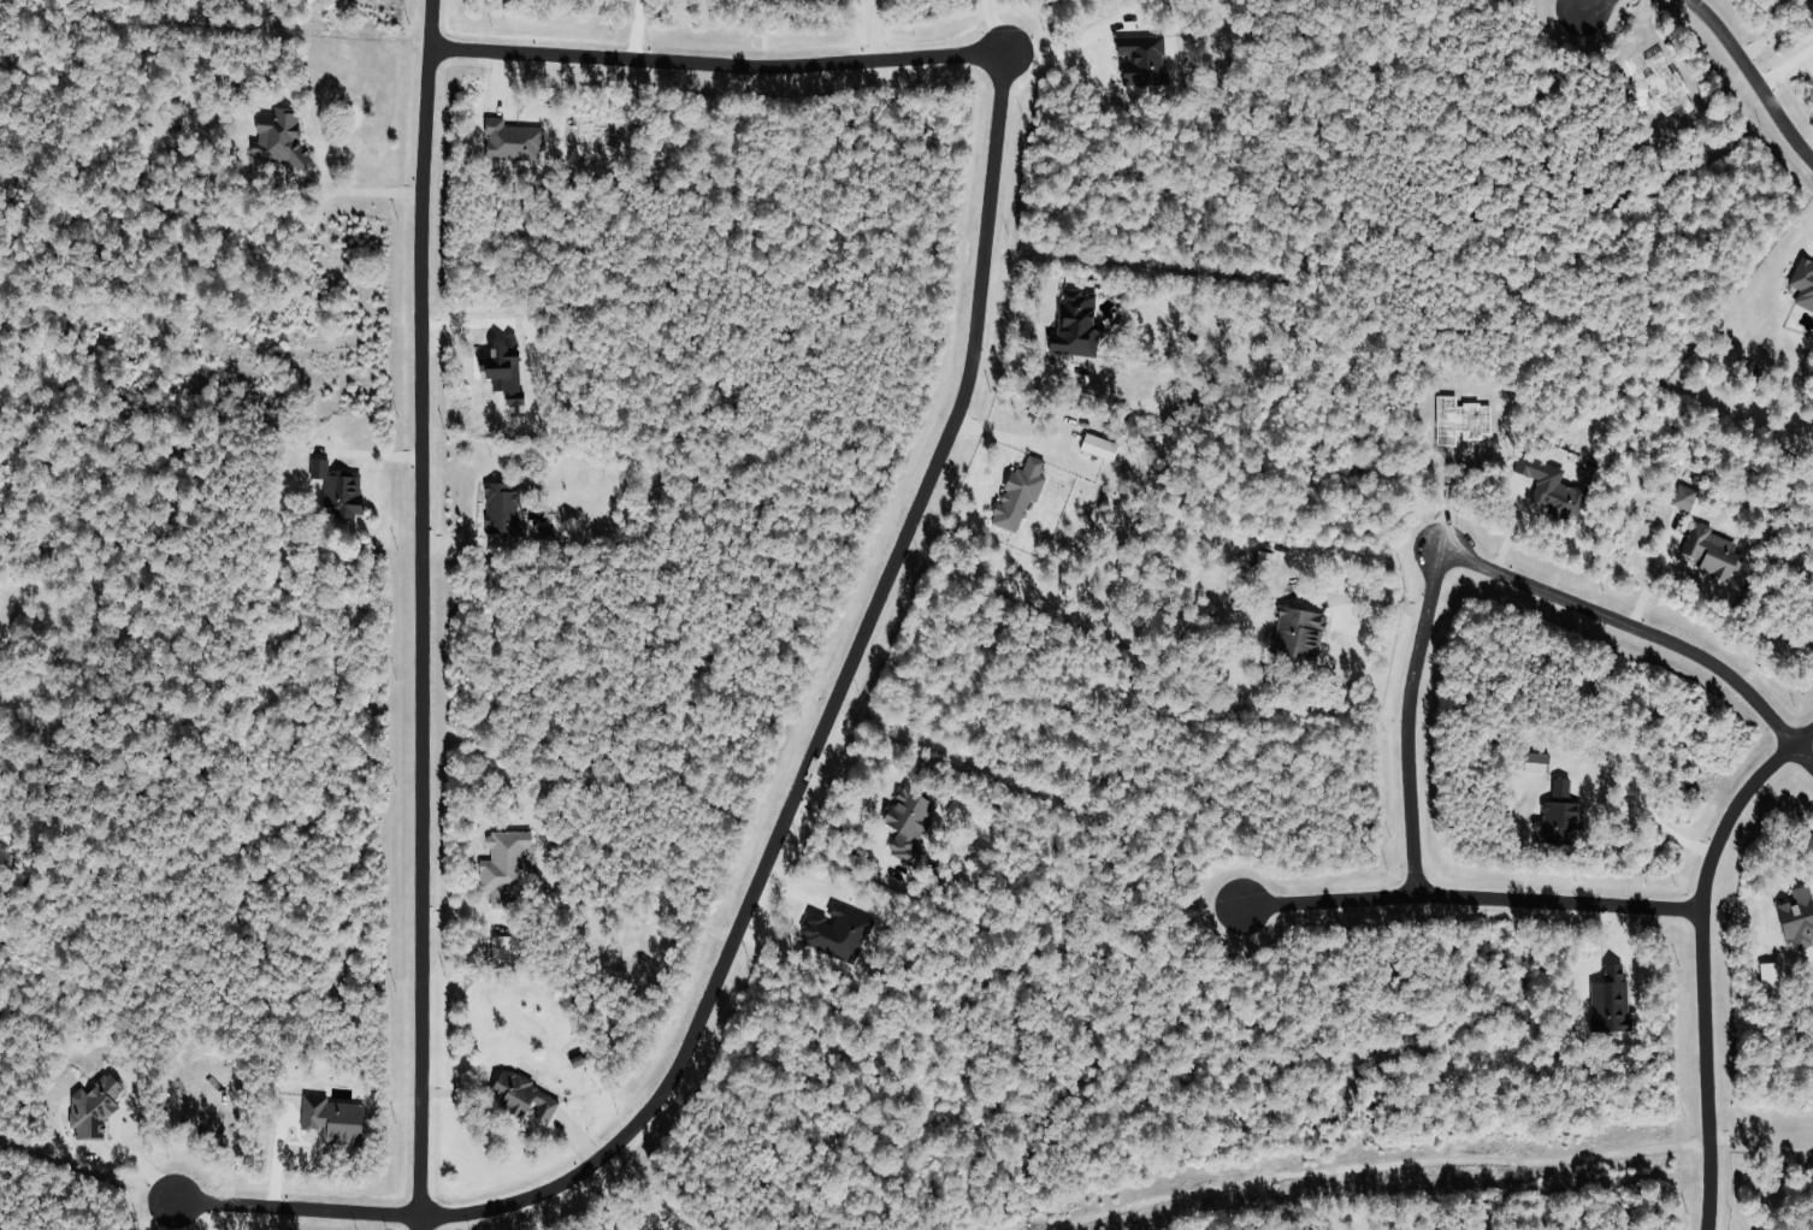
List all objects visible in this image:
road: (637, 30)
road: (1049, 53)
building: (1144, 58)
road: (704, 64)
road: (1753, 78)
building: (279, 137)
building: (509, 140)
road: (367, 190)
building: (1805, 282)
building: (1075, 323)
building: (503, 374)
building: (1100, 447)
building: (1552, 486)
building: (338, 489)
building: (1020, 493)
building: (1684, 497)
building: (502, 507)
building: (1714, 551)
road: (1472, 564)
road: (1372, 602)
road: (418, 614)
building: (1294, 631)
road: (829, 717)
road: (1803, 756)
road: (1648, 809)
building: (1559, 816)
building: (910, 820)
road: (841, 823)
road: (1476, 899)
building: (1799, 916)
building: (837, 932)
building: (502, 948)
road: (1703, 960)
building: (1772, 976)
building: (1611, 999)
building: (525, 1096)
building: (94, 1105)
road: (604, 1200)
road: (301, 1208)
road: (173, 1216)

